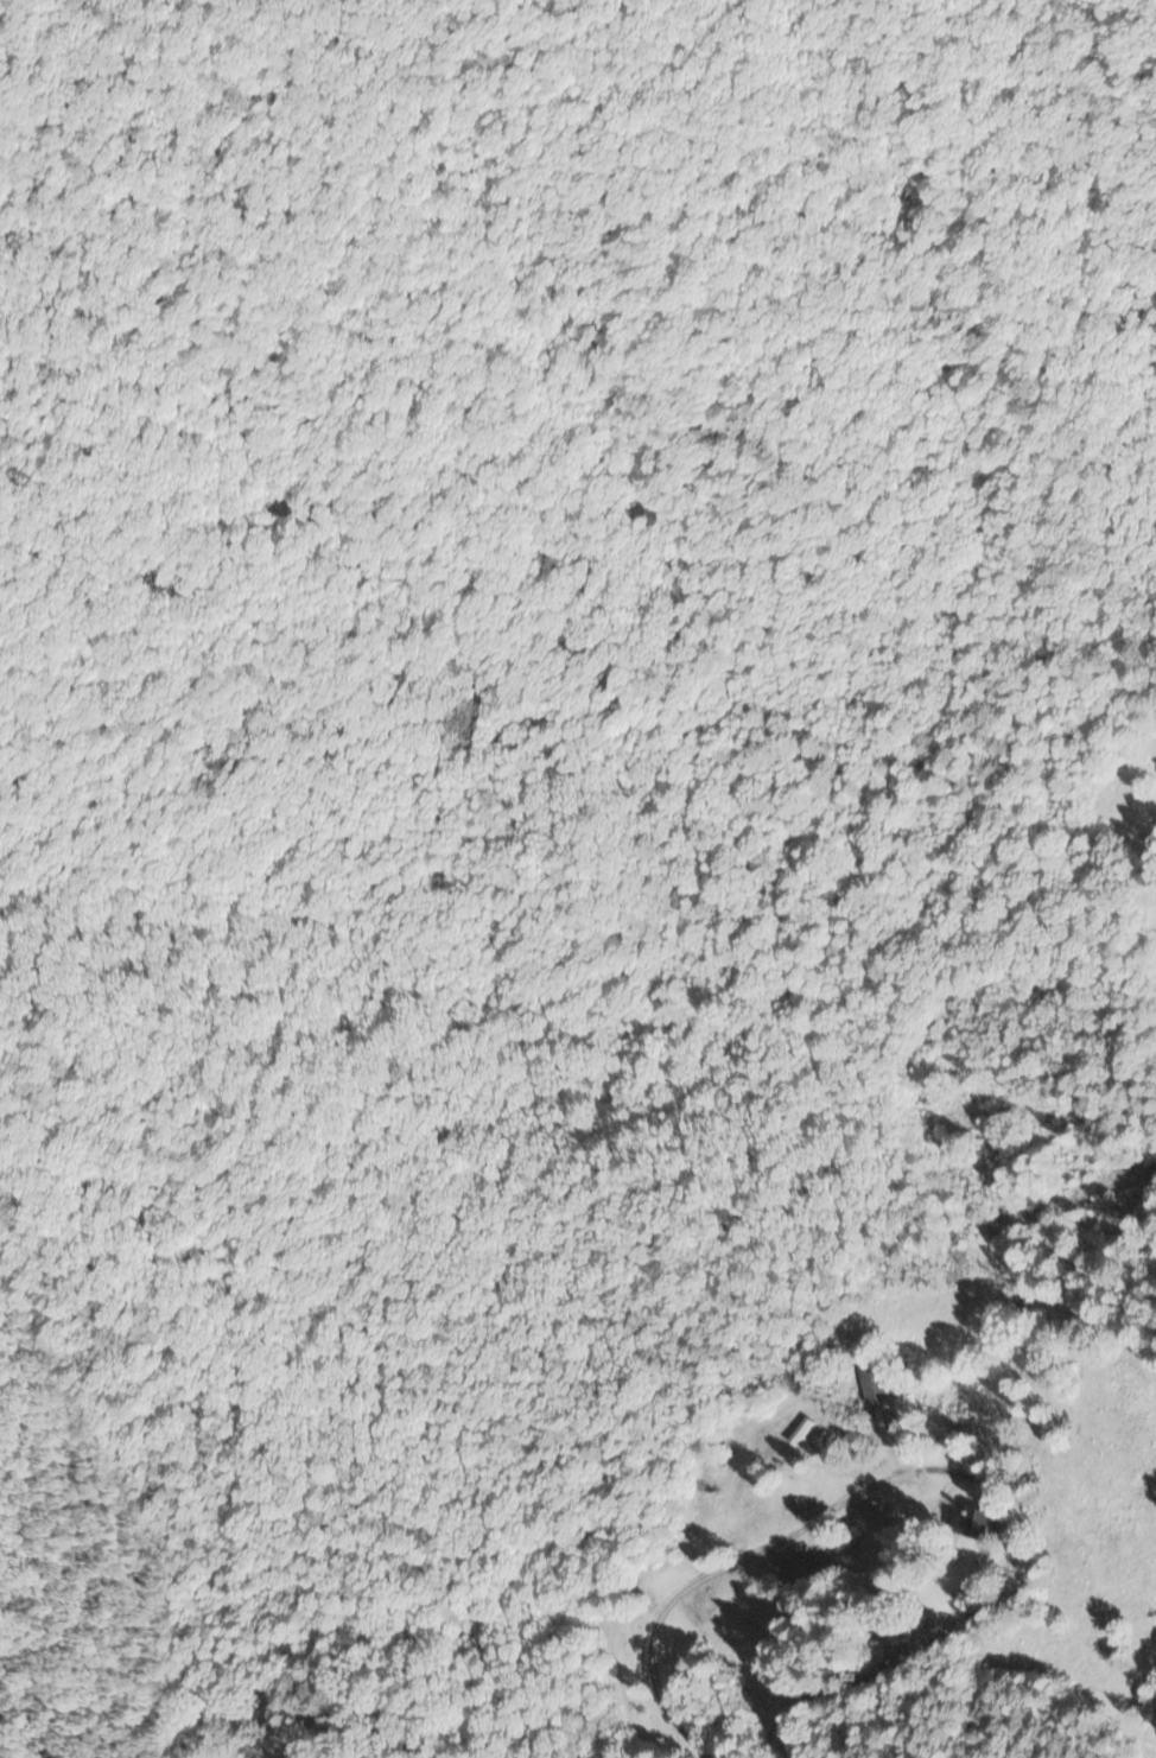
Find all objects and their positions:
building: (970, 1525)

